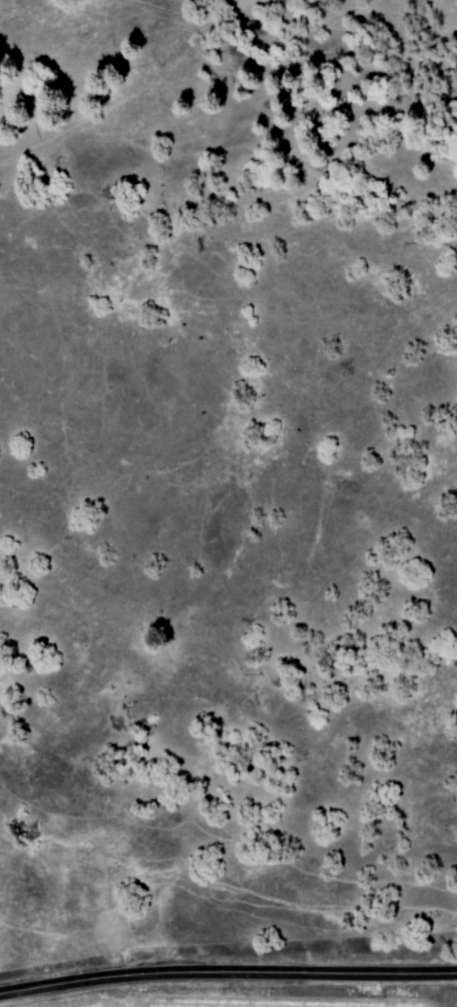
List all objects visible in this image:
road: (310, 993)

